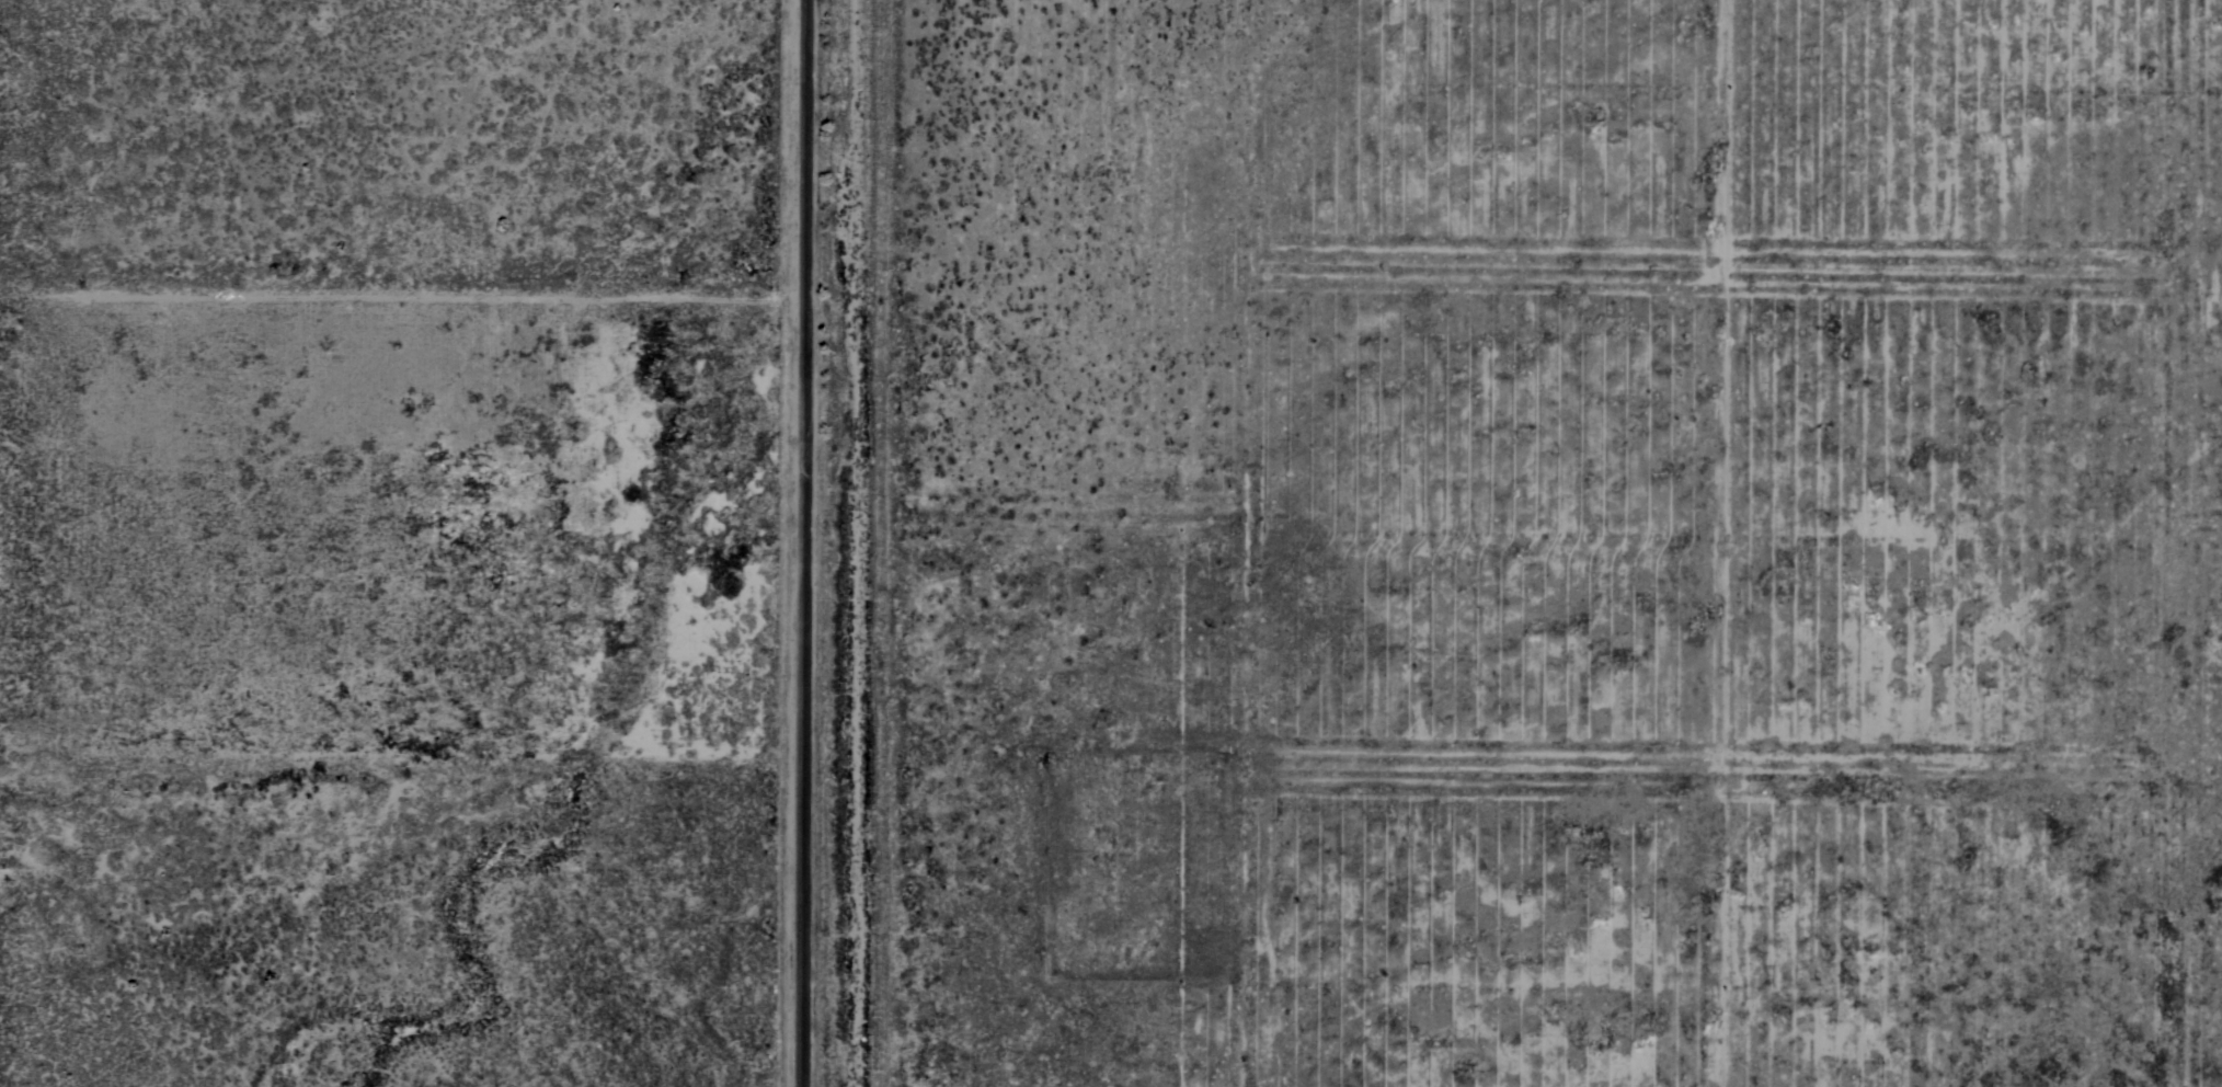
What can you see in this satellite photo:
crop: (394, 536)
road: (798, 542)
road: (859, 543)

